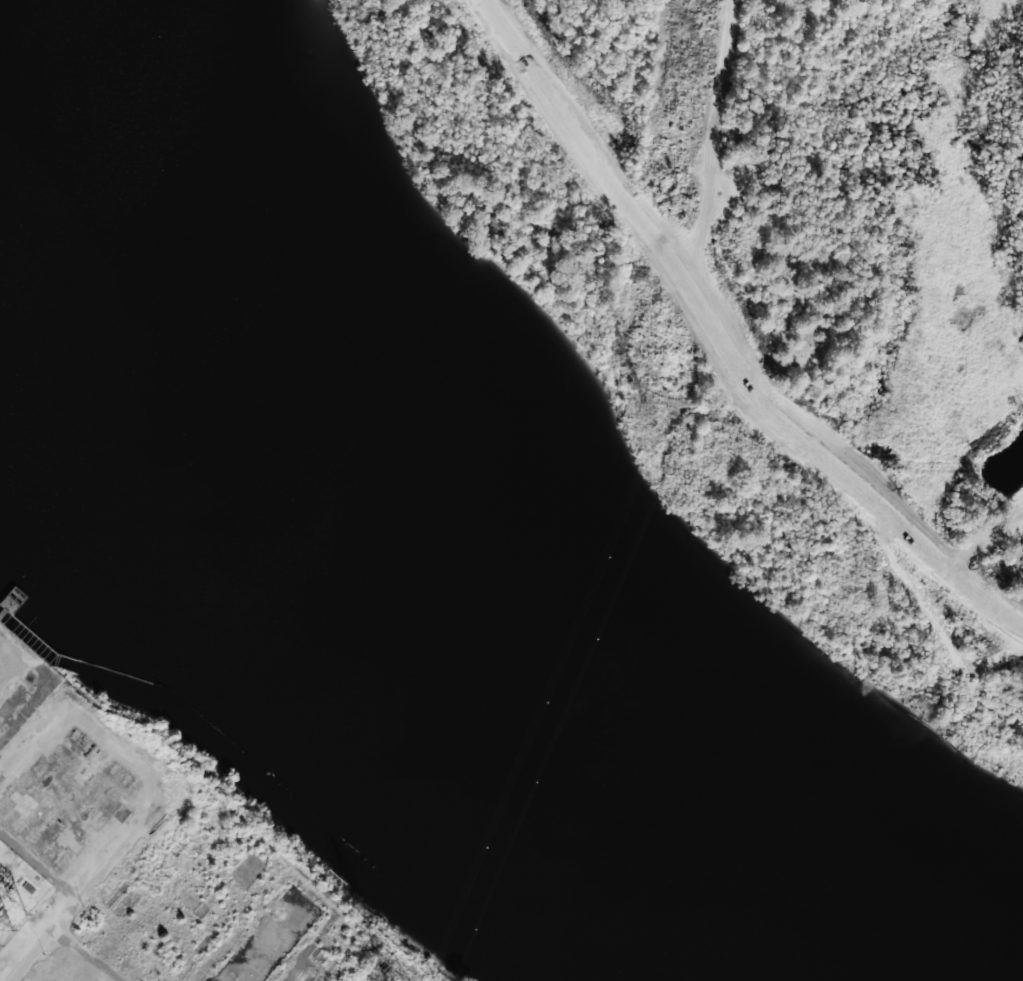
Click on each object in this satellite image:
river: (69, 281)
power tower: (640, 404)
river: (336, 564)
power substation: (27, 887)

